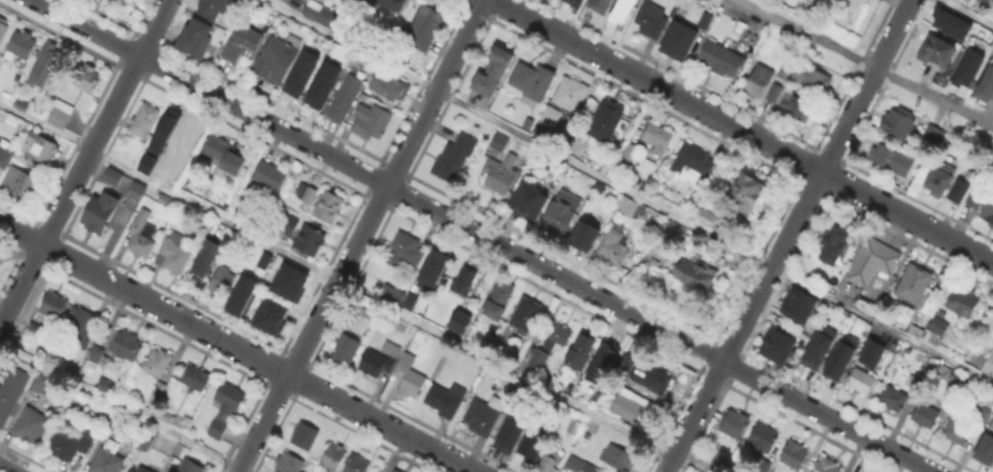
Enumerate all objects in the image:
building: (364, 0)
building: (574, 2)
building: (392, 4)
building: (605, 5)
building: (812, 6)
building: (209, 8)
building: (620, 11)
road: (968, 13)
building: (324, 16)
building: (704, 20)
building: (652, 21)
building: (949, 21)
building: (3, 29)
building: (426, 29)
building: (191, 38)
building: (678, 39)
building: (23, 44)
building: (242, 45)
building: (934, 49)
building: (277, 59)
building: (721, 60)
road: (867, 63)
building: (45, 65)
building: (966, 67)
building: (786, 69)
building: (490, 70)
building: (299, 72)
building: (811, 78)
building: (89, 80)
building: (760, 82)
building: (321, 84)
building: (534, 84)
road: (865, 86)
building: (390, 87)
building: (986, 87)
building: (775, 94)
building: (345, 99)
building: (565, 103)
building: (798, 107)
building: (60, 113)
building: (145, 121)
building: (607, 121)
building: (372, 122)
building: (900, 125)
building: (163, 129)
road: (743, 131)
building: (931, 132)
building: (659, 139)
building: (180, 143)
building: (500, 143)
building: (44, 148)
building: (626, 150)
building: (631, 153)
building: (223, 155)
building: (5, 158)
building: (454, 158)
building: (887, 158)
road: (84, 162)
building: (145, 163)
building: (693, 163)
building: (500, 174)
building: (271, 176)
building: (114, 177)
building: (937, 177)
building: (589, 182)
building: (20, 185)
building: (956, 189)
road: (627, 192)
building: (305, 196)
building: (973, 196)
building: (748, 197)
building: (532, 199)
building: (168, 202)
building: (328, 205)
building: (628, 207)
building: (563, 212)
building: (101, 213)
building: (989, 213)
building: (706, 218)
building: (288, 225)
building: (673, 229)
building: (586, 234)
building: (142, 235)
road: (360, 235)
road: (482, 235)
building: (309, 242)
building: (836, 245)
building: (406, 251)
building: (613, 251)
building: (175, 255)
building: (207, 257)
building: (262, 259)
building: (874, 262)
building: (436, 266)
building: (696, 276)
road: (336, 278)
building: (461, 279)
building: (287, 280)
building: (222, 282)
building: (914, 285)
building: (239, 293)
building: (393, 295)
building: (496, 298)
building: (413, 301)
building: (796, 303)
building: (54, 304)
building: (964, 304)
building: (526, 316)
building: (267, 320)
building: (457, 320)
road: (742, 322)
building: (81, 326)
building: (992, 326)
building: (939, 327)
building: (37, 330)
building: (917, 333)
building: (559, 337)
building: (776, 345)
building: (126, 346)
road: (237, 348)
building: (818, 348)
building: (346, 351)
building: (869, 352)
building: (582, 354)
building: (99, 357)
building: (537, 357)
building: (838, 357)
building: (157, 363)
building: (603, 363)
building: (988, 363)
building: (396, 371)
building: (193, 378)
building: (858, 379)
building: (652, 380)
building: (958, 380)
building: (42, 381)
building: (917, 382)
building: (107, 387)
building: (158, 391)
building: (11, 392)
building: (894, 398)
building: (445, 400)
road: (122, 409)
building: (226, 409)
building: (635, 411)
building: (980, 413)
building: (484, 416)
building: (163, 417)
building: (926, 417)
building: (990, 421)
building: (735, 424)
building: (31, 425)
building: (112, 428)
building: (509, 432)
building: (961, 433)
building: (305, 436)
building: (764, 438)
building: (143, 444)
building: (70, 445)
building: (533, 446)
building: (986, 448)
building: (796, 456)
building: (335, 458)
building: (619, 458)
building: (108, 459)
building: (550, 461)
building: (758, 462)
building: (290, 463)
building: (358, 463)
building: (578, 466)
building: (828, 466)
building: (190, 467)
road: (6, 468)
building: (140, 469)
building: (397, 471)

